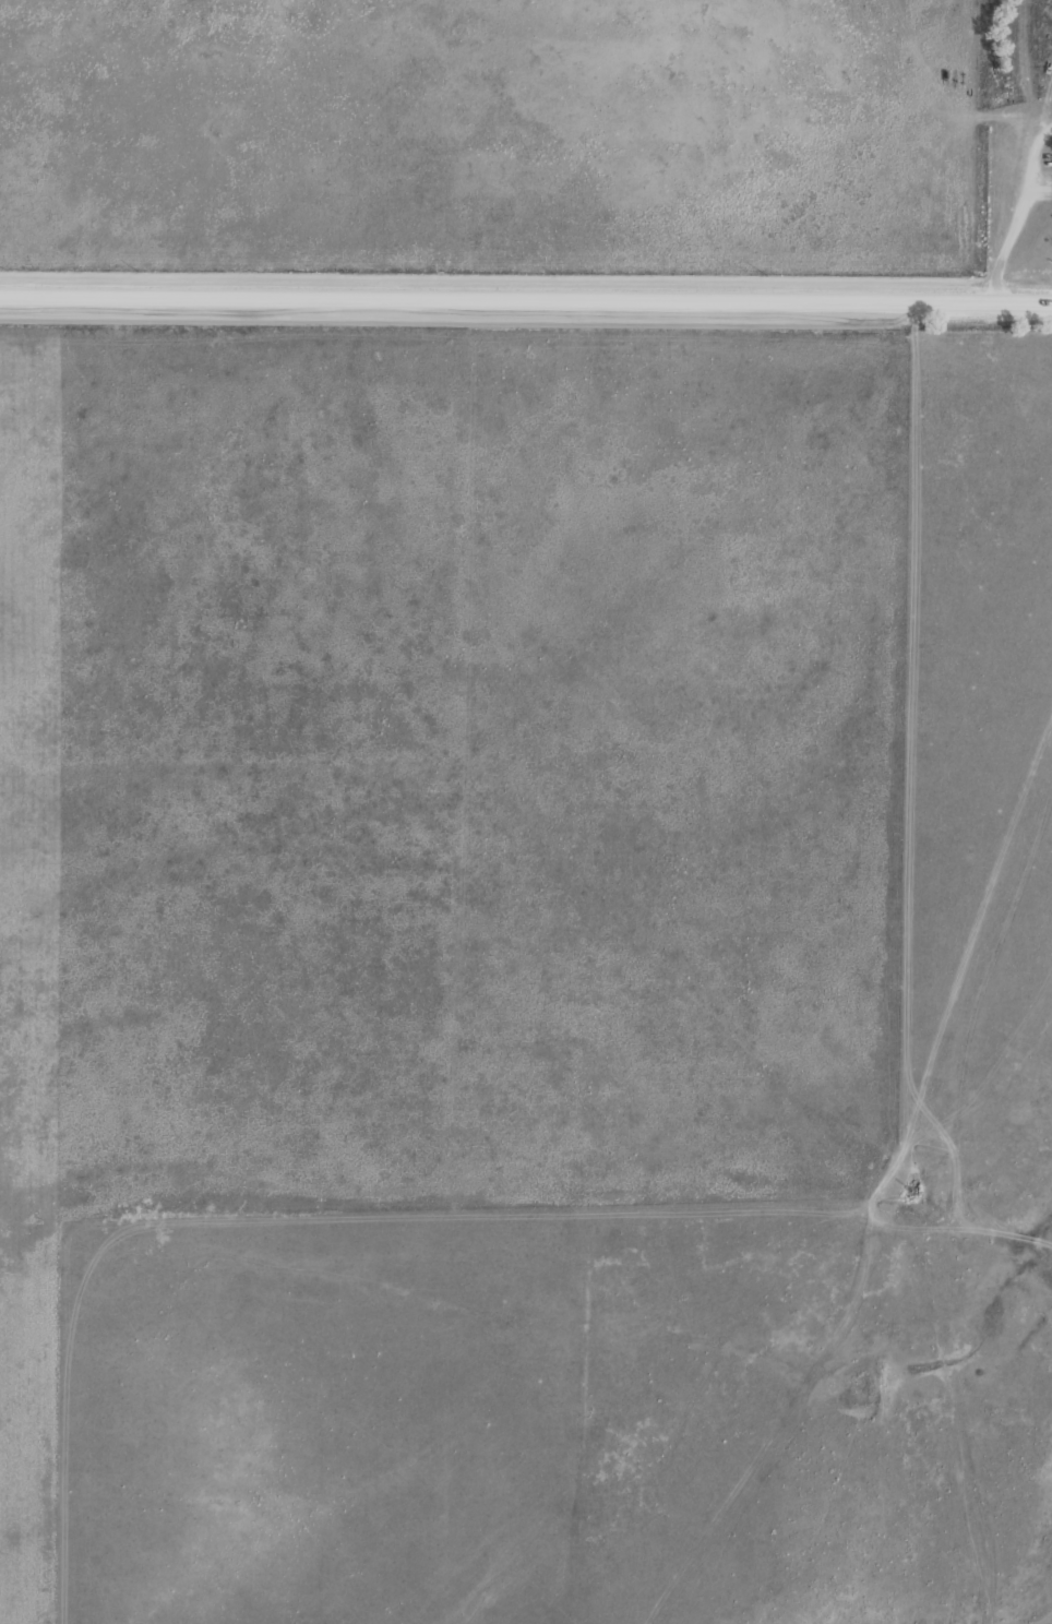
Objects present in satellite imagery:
road: (526, 296)
road: (1007, 1084)

